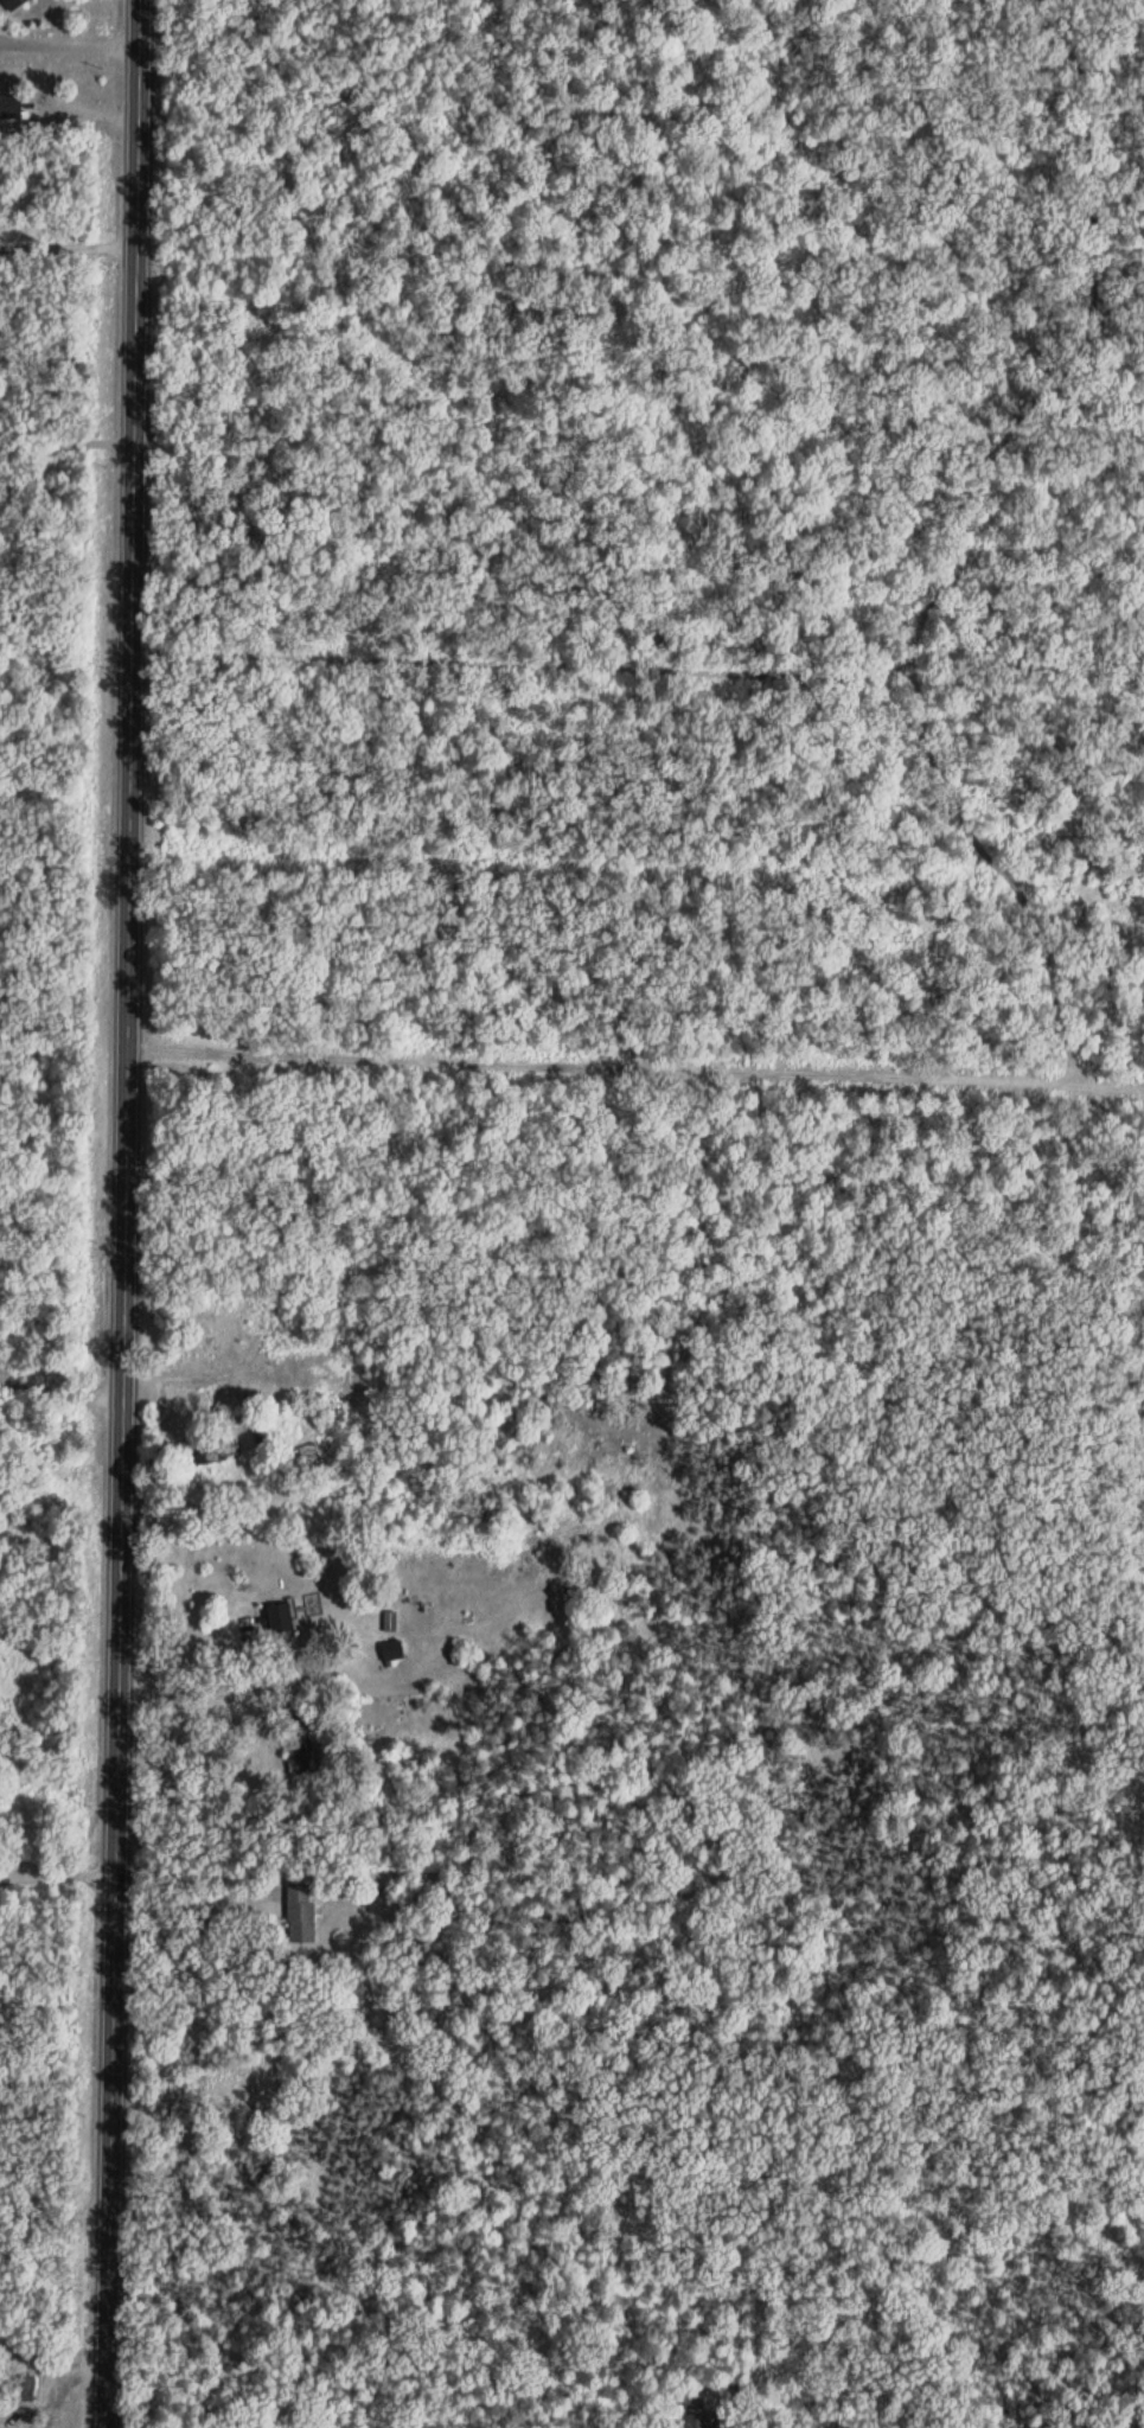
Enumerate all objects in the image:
building: (15, 5)
road: (74, 49)
building: (11, 110)
road: (69, 250)
road: (637, 616)
road: (122, 1213)
road: (59, 1382)
building: (216, 1453)
building: (308, 1457)
building: (282, 1625)
building: (390, 1625)
road: (178, 1648)
building: (394, 1654)
road: (56, 1867)
road: (192, 1892)
building: (302, 1917)
road: (53, 2207)
building: (25, 2392)
building: (701, 2422)

